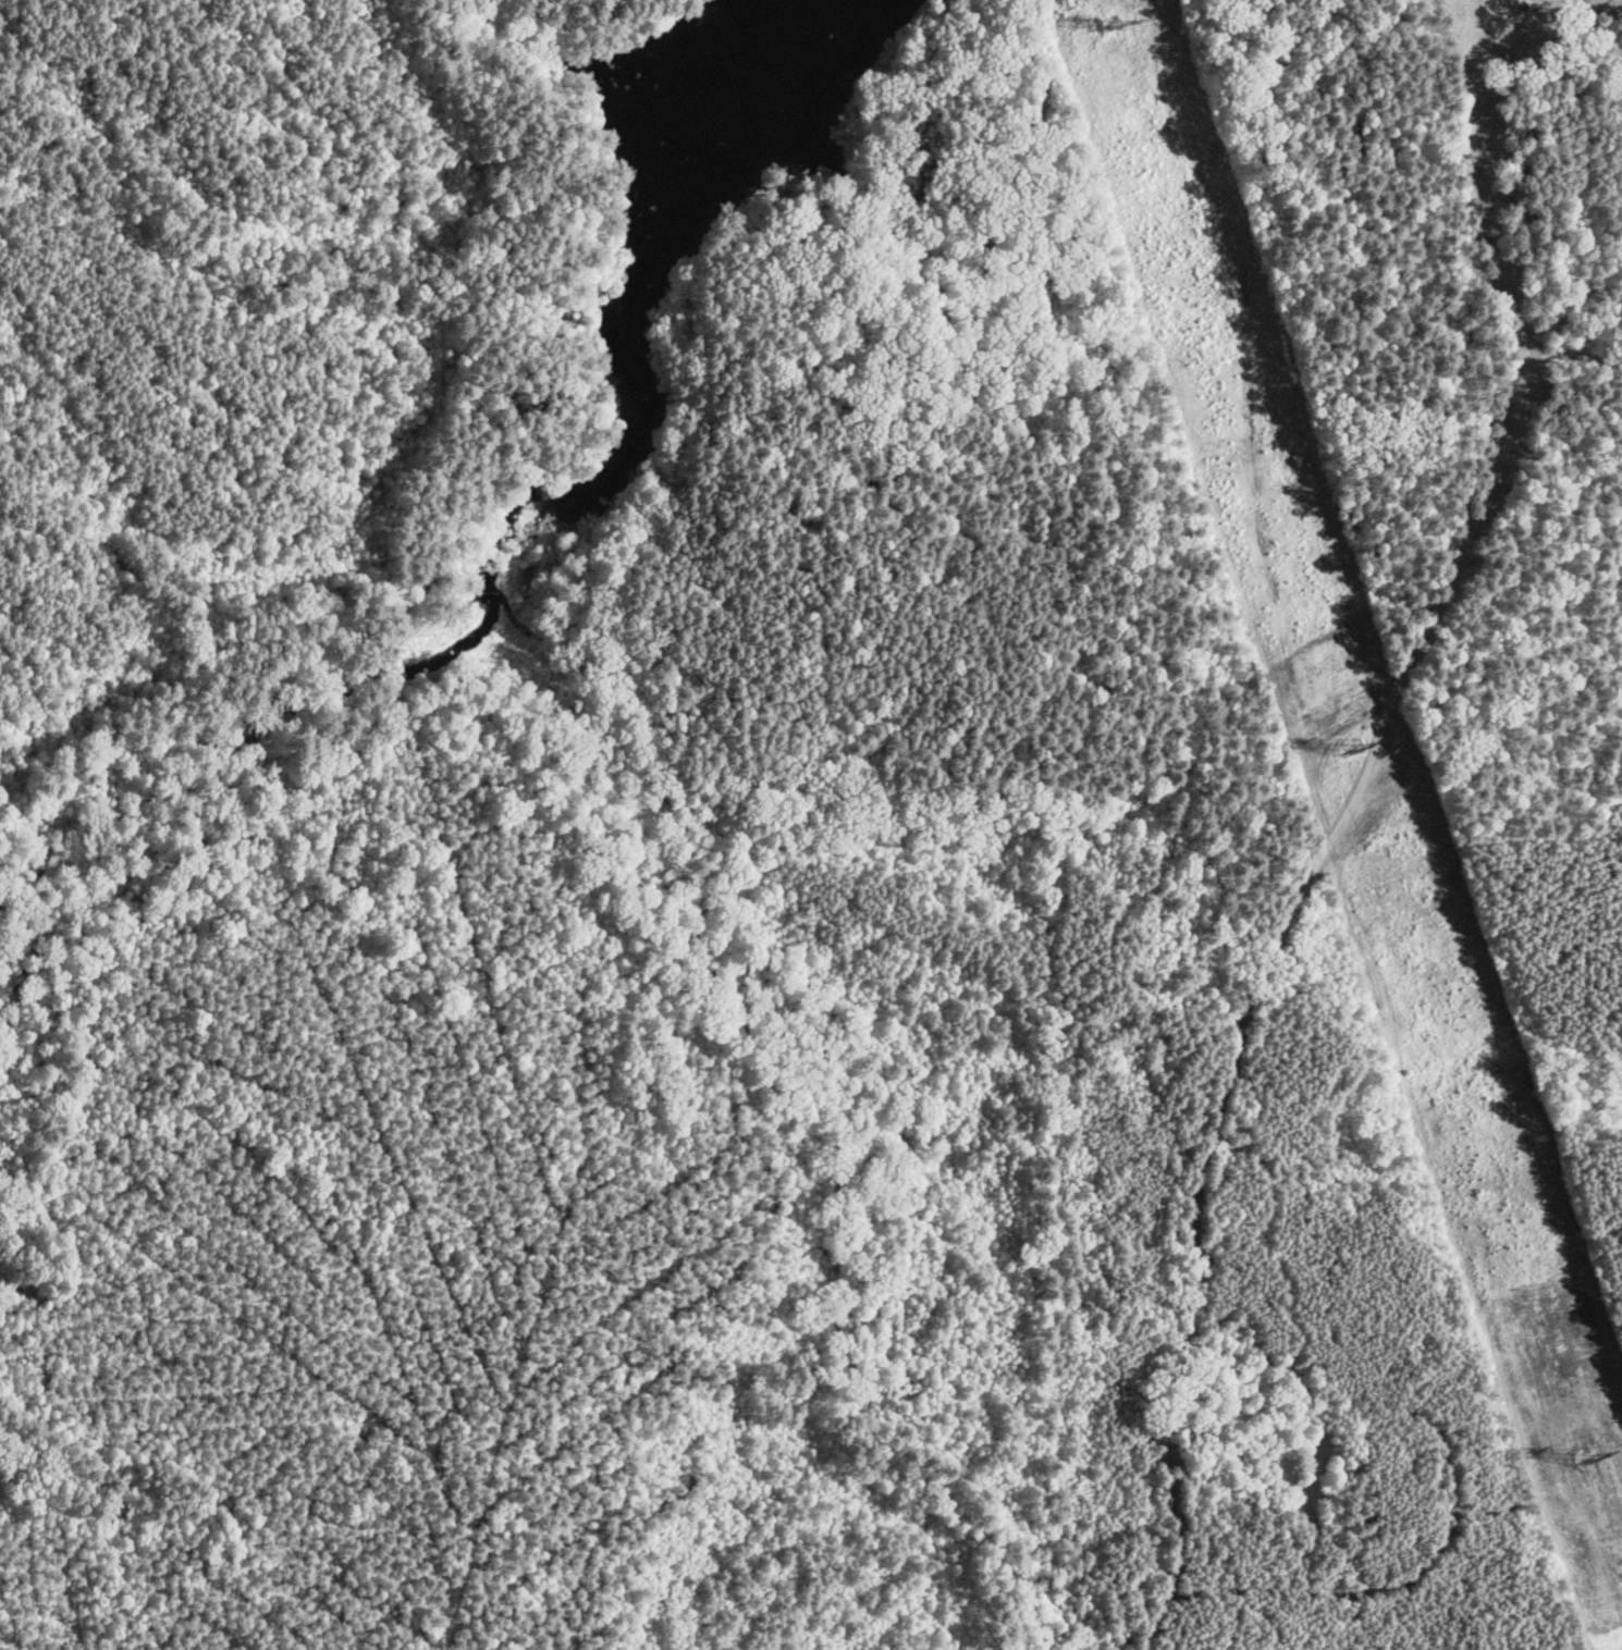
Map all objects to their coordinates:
power tower: (1110, 34)
power tower: (1349, 754)
power tower: (1586, 1468)

